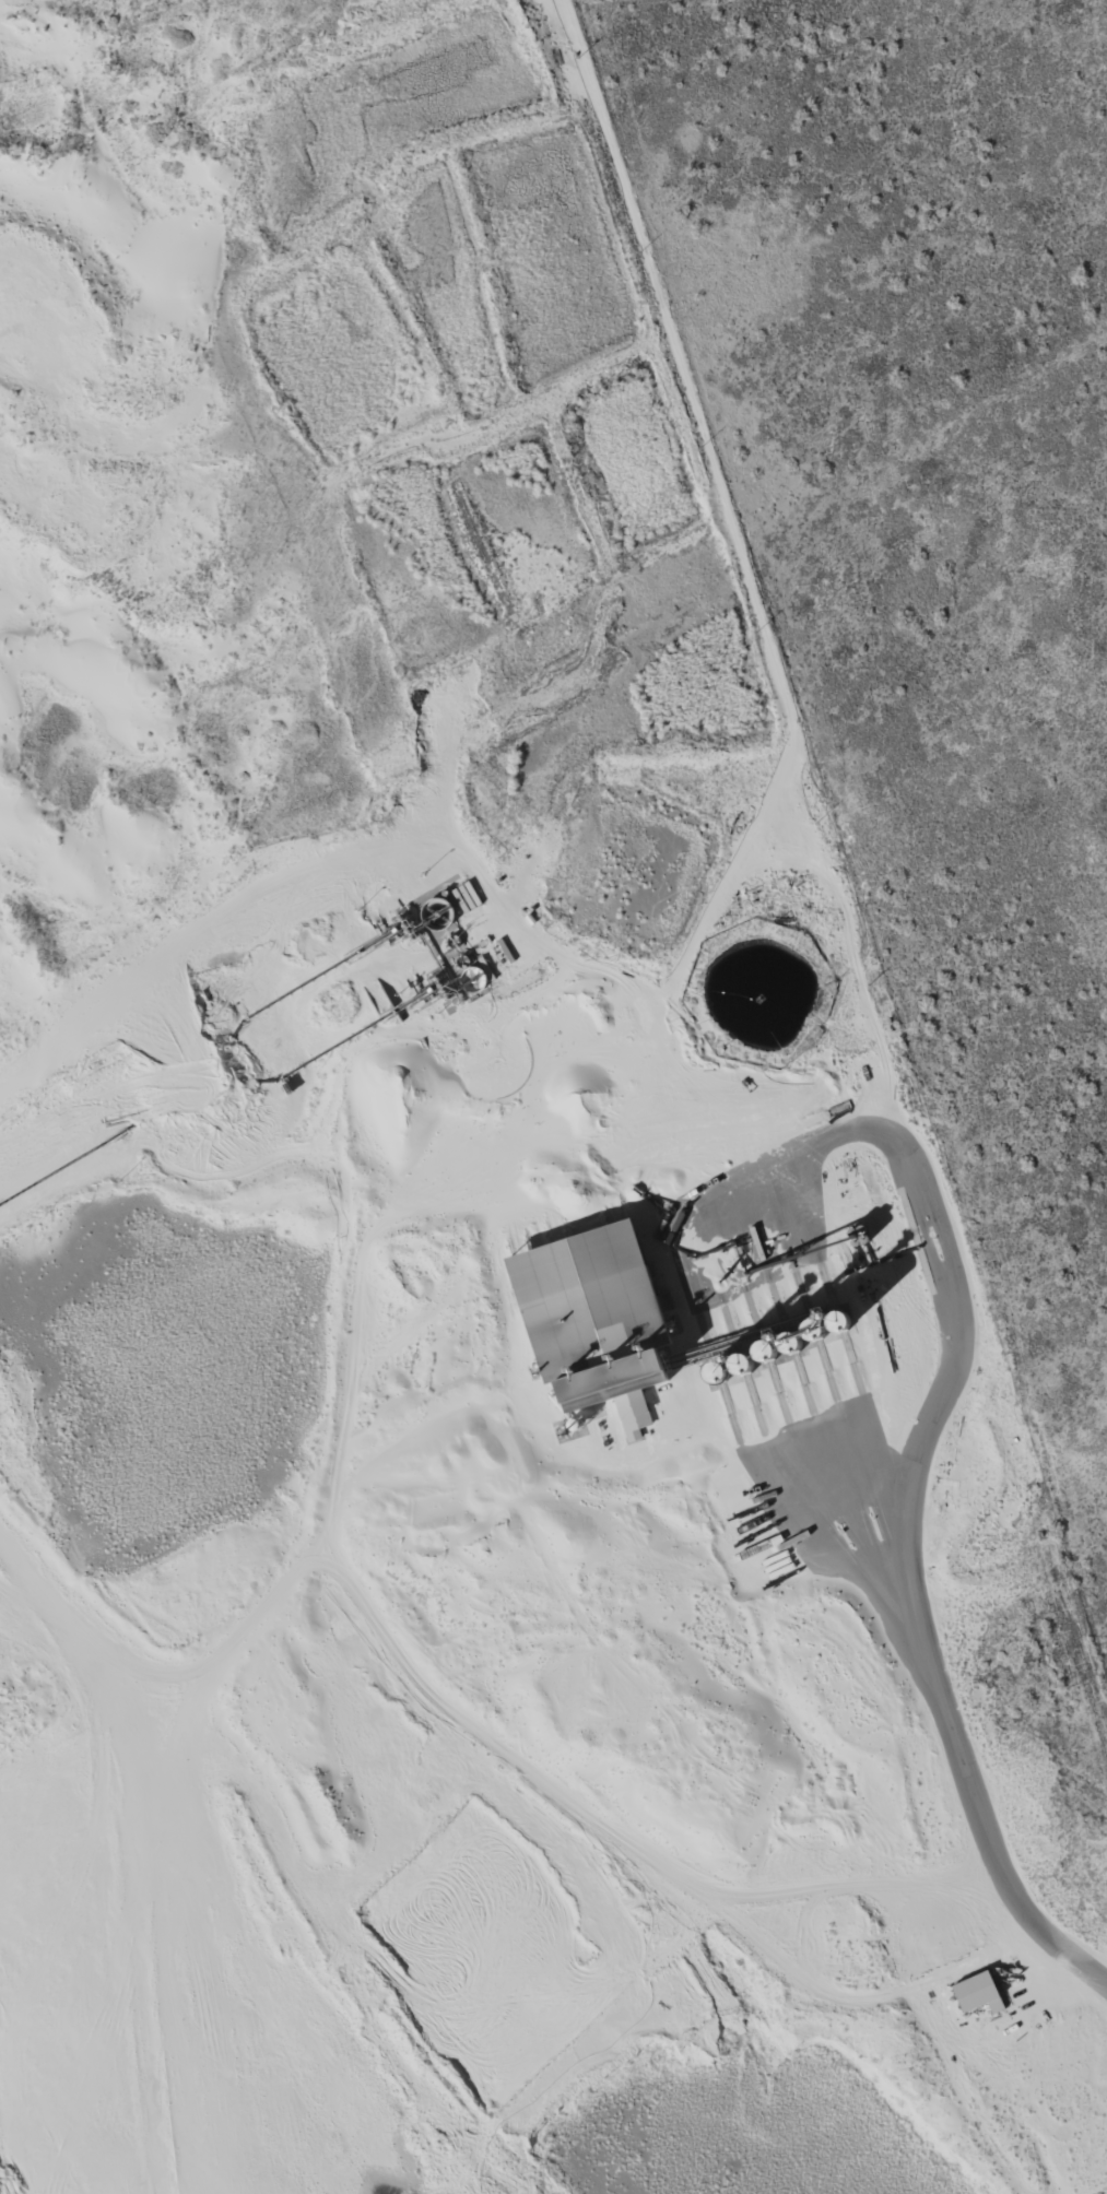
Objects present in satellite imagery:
building: (982, 1994)

